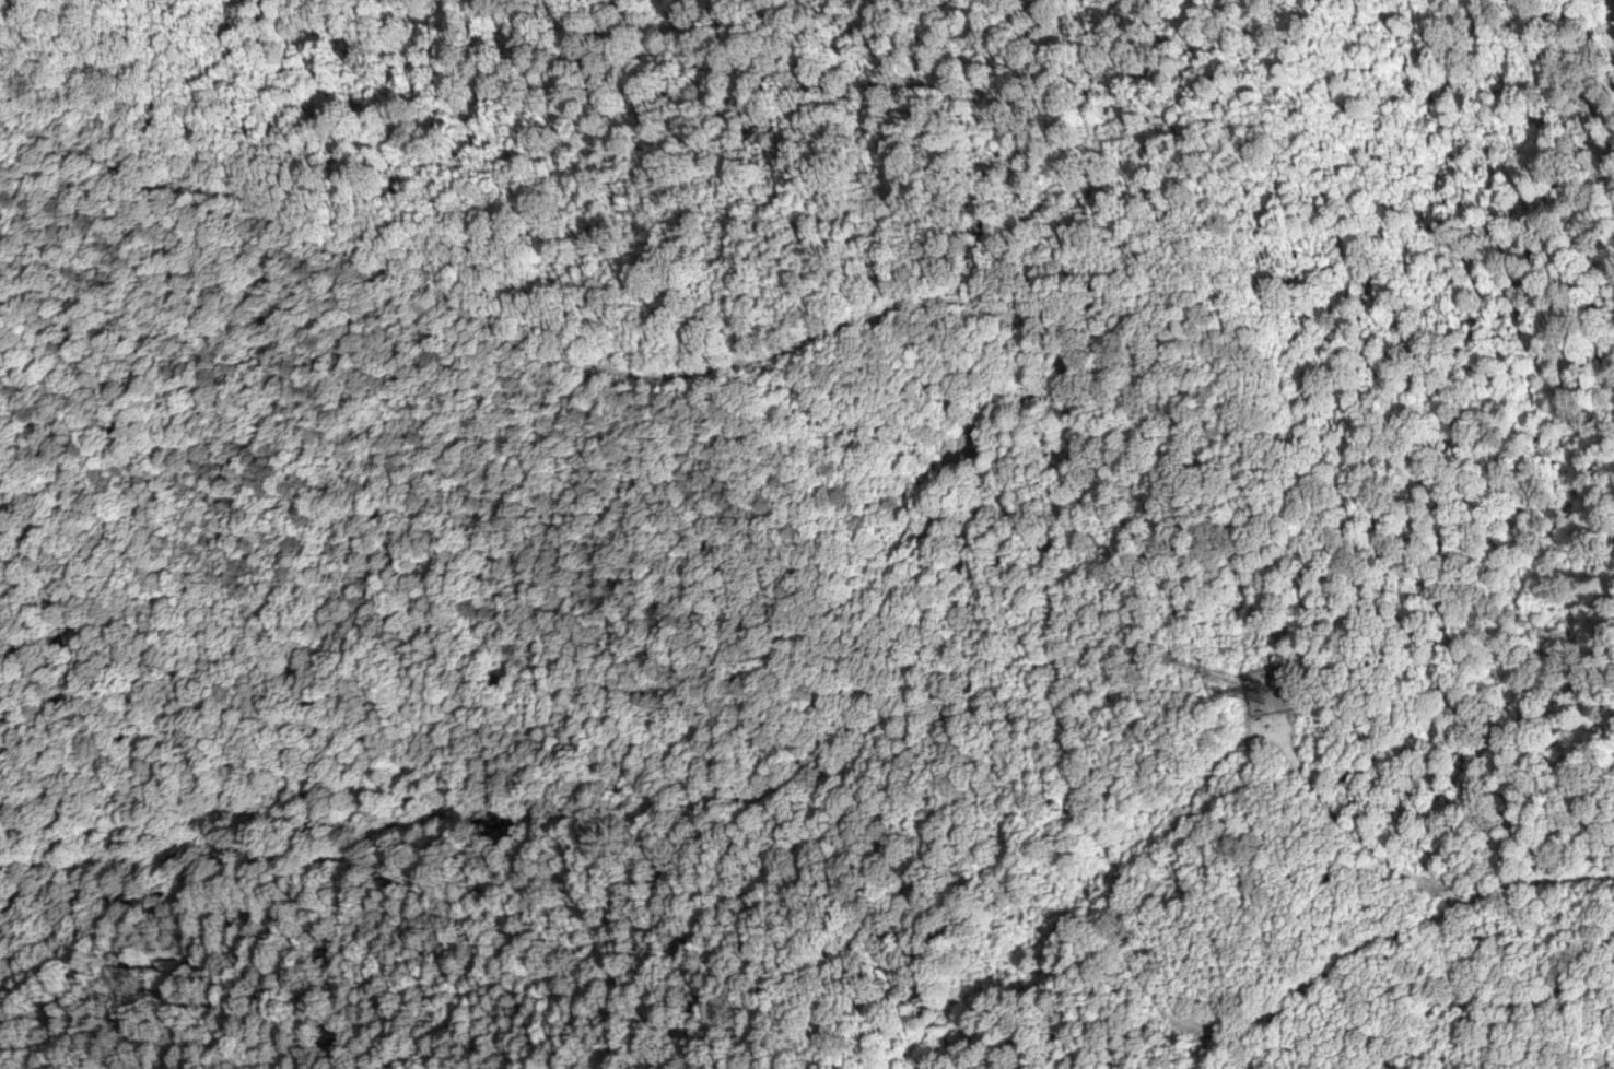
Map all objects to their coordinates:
road: (1039, 407)

